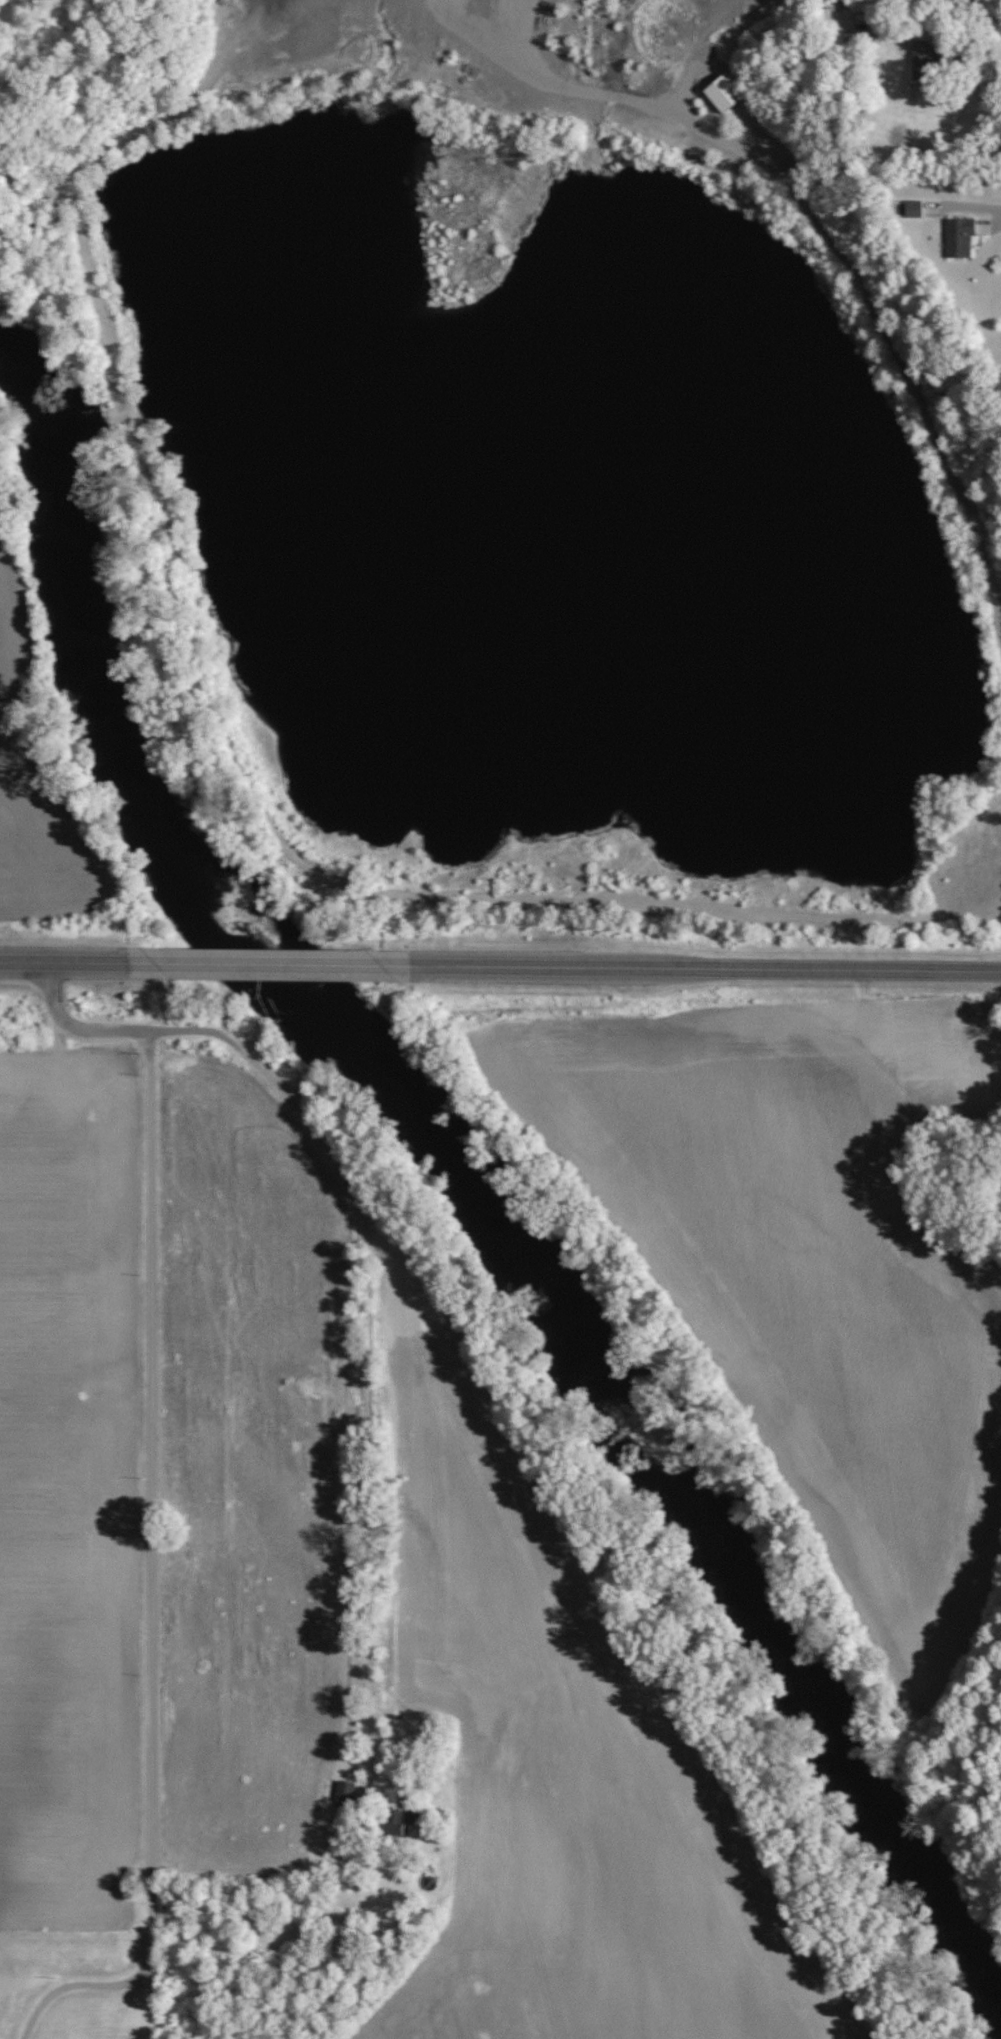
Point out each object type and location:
road: (763, 37)
road: (967, 37)
building: (918, 59)
building: (722, 91)
building: (913, 208)
building: (958, 236)
road: (74, 964)
road: (284, 967)
road: (710, 970)
river: (486, 1201)
road: (366, 1338)
road: (149, 1504)
building: (343, 1791)
building: (397, 1821)

